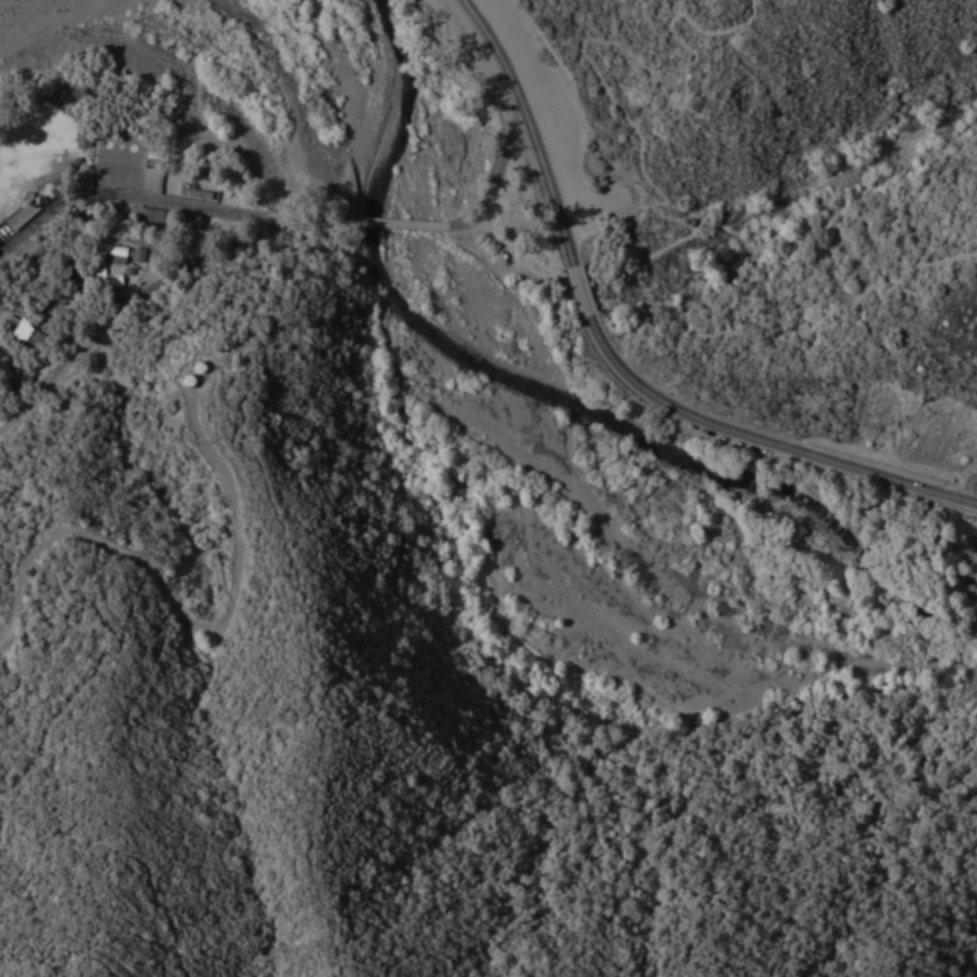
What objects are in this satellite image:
building: (49, 93)
road: (614, 98)
road: (531, 127)
building: (85, 137)
building: (156, 148)
building: (600, 162)
building: (62, 171)
road: (500, 177)
building: (87, 180)
building: (196, 190)
road: (124, 197)
building: (146, 213)
building: (24, 214)
building: (190, 221)
road: (399, 224)
building: (42, 240)
building: (120, 251)
road: (223, 253)
building: (35, 267)
building: (102, 276)
building: (41, 279)
road: (581, 292)
building: (30, 335)
road: (753, 335)
building: (200, 368)
storage tank: (200, 368)
road: (56, 373)
building: (189, 381)
storage tank: (189, 381)
road: (764, 438)
river: (496, 469)
road: (192, 610)

